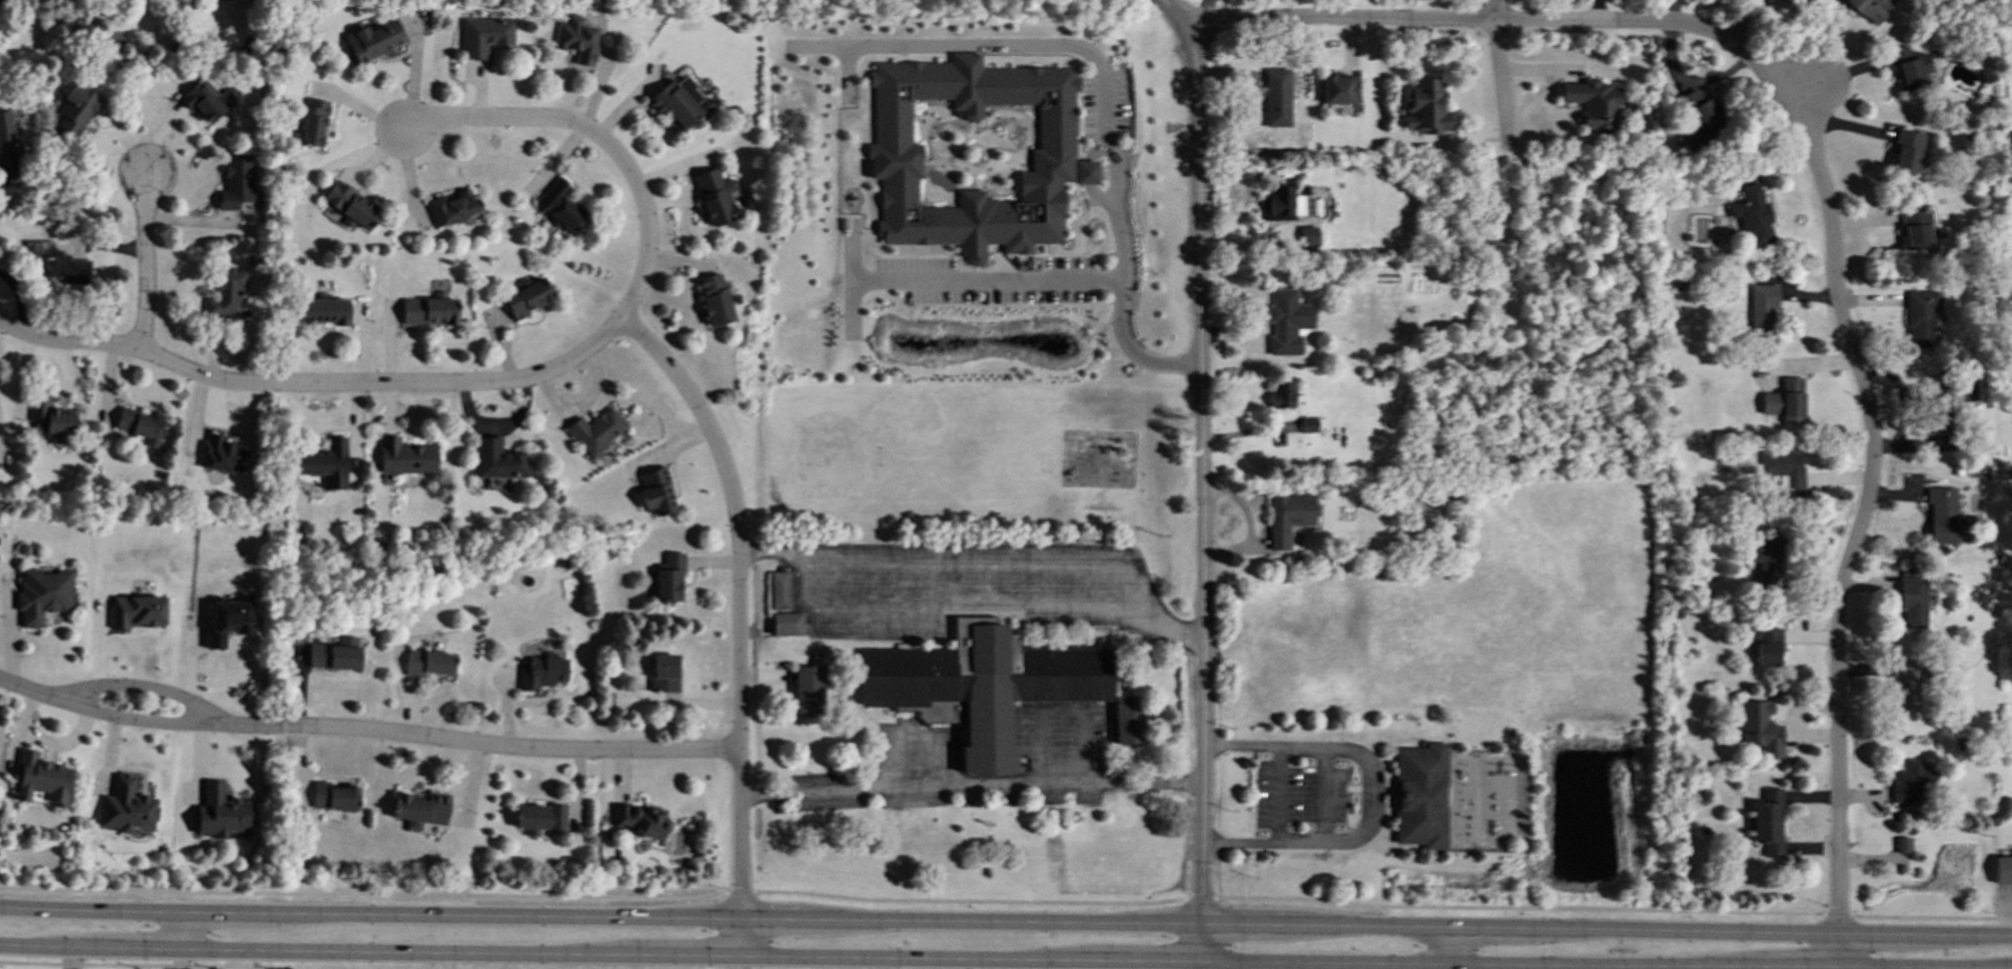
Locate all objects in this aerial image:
building: (1870, 9)
road: (1180, 14)
road: (1500, 21)
building: (484, 37)
building: (374, 40)
building: (577, 40)
road: (1082, 51)
building: (1910, 67)
road: (1498, 68)
road: (1689, 81)
road: (1818, 86)
building: (1339, 91)
building: (1277, 98)
building: (205, 101)
building: (677, 102)
building: (1592, 104)
building: (1426, 106)
building: (73, 110)
building: (1697, 114)
building: (313, 123)
building: (5, 129)
road: (598, 138)
building: (1906, 151)
building: (895, 156)
building: (236, 184)
building: (715, 196)
building: (1284, 204)
building: (350, 205)
building: (452, 206)
building: (561, 207)
building: (1751, 215)
building: (1915, 230)
building: (1309, 236)
road: (144, 254)
building: (64, 268)
road: (1059, 277)
building: (225, 292)
building: (526, 298)
building: (714, 299)
building: (1761, 308)
building: (429, 310)
building: (327, 311)
building: (1920, 317)
building: (1287, 321)
road: (314, 384)
building: (1281, 395)
building: (1784, 401)
road: (582, 405)
building: (1936, 408)
building: (50, 416)
building: (1308, 424)
building: (140, 426)
road: (499, 427)
building: (595, 430)
building: (222, 454)
road: (1201, 455)
building: (405, 456)
building: (497, 459)
building: (326, 463)
building: (1783, 466)
building: (655, 491)
building: (1288, 516)
road: (1858, 529)
road: (775, 551)
road: (989, 560)
building: (1766, 562)
building: (668, 578)
building: (779, 590)
building: (43, 594)
road: (739, 600)
building: (1912, 601)
building: (136, 611)
road: (951, 611)
building: (227, 620)
building: (787, 624)
road: (1171, 624)
building: (1765, 645)
building: (335, 654)
building: (429, 662)
building: (541, 672)
building: (663, 672)
building: (1906, 683)
building: (980, 686)
building: (809, 690)
road: (135, 709)
building: (1128, 719)
building: (1759, 728)
road: (505, 748)
building: (41, 779)
building: (1911, 782)
road: (971, 788)
road: (1367, 793)
building: (1420, 795)
building: (333, 796)
building: (126, 806)
building: (420, 809)
building: (220, 812)
building: (538, 817)
building: (640, 820)
building: (1767, 822)
building: (1902, 845)
building: (2003, 869)
road: (740, 892)
road: (364, 894)
road: (1199, 899)
road: (969, 901)
road: (1518, 907)
road: (90, 908)
road: (218, 911)
road: (498, 914)
road: (1838, 914)
road: (771, 917)
road: (1931, 917)
road: (1001, 920)
road: (1244, 922)
road: (1316, 923)
road: (1399, 923)
road: (1485, 924)
road: (1678, 928)
road: (181, 929)
road: (1874, 931)
road: (1961, 932)
road: (741, 936)
road: (1202, 941)
road: (1452, 942)
road: (52, 946)
road: (142, 948)
road: (403, 951)
road: (684, 954)
road: (72, 957)
road: (915, 957)
road: (181, 958)
road: (1145, 960)
road: (1276, 960)
road: (1554, 963)
road: (1202, 964)
road: (1439, 964)
road: (1799, 964)
road: (1925, 965)
road: (138, 966)

